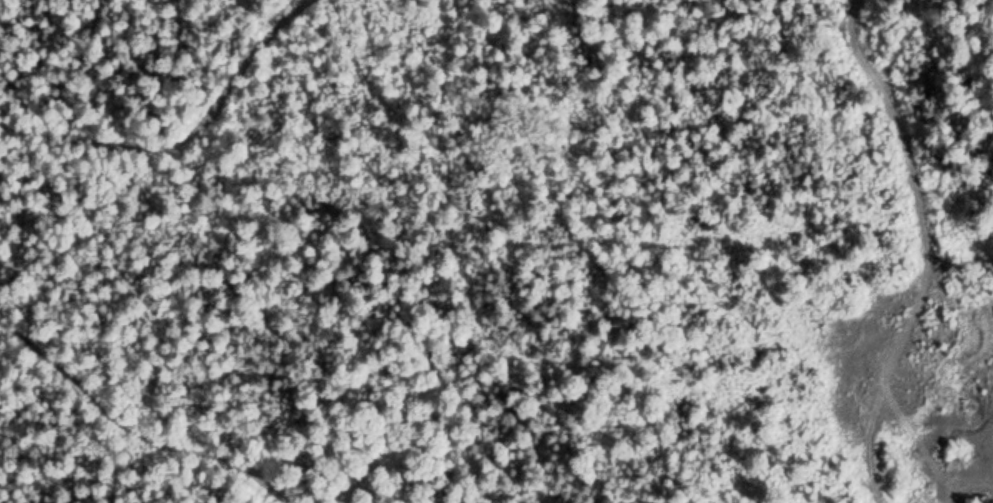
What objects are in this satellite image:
road: (991, 474)

